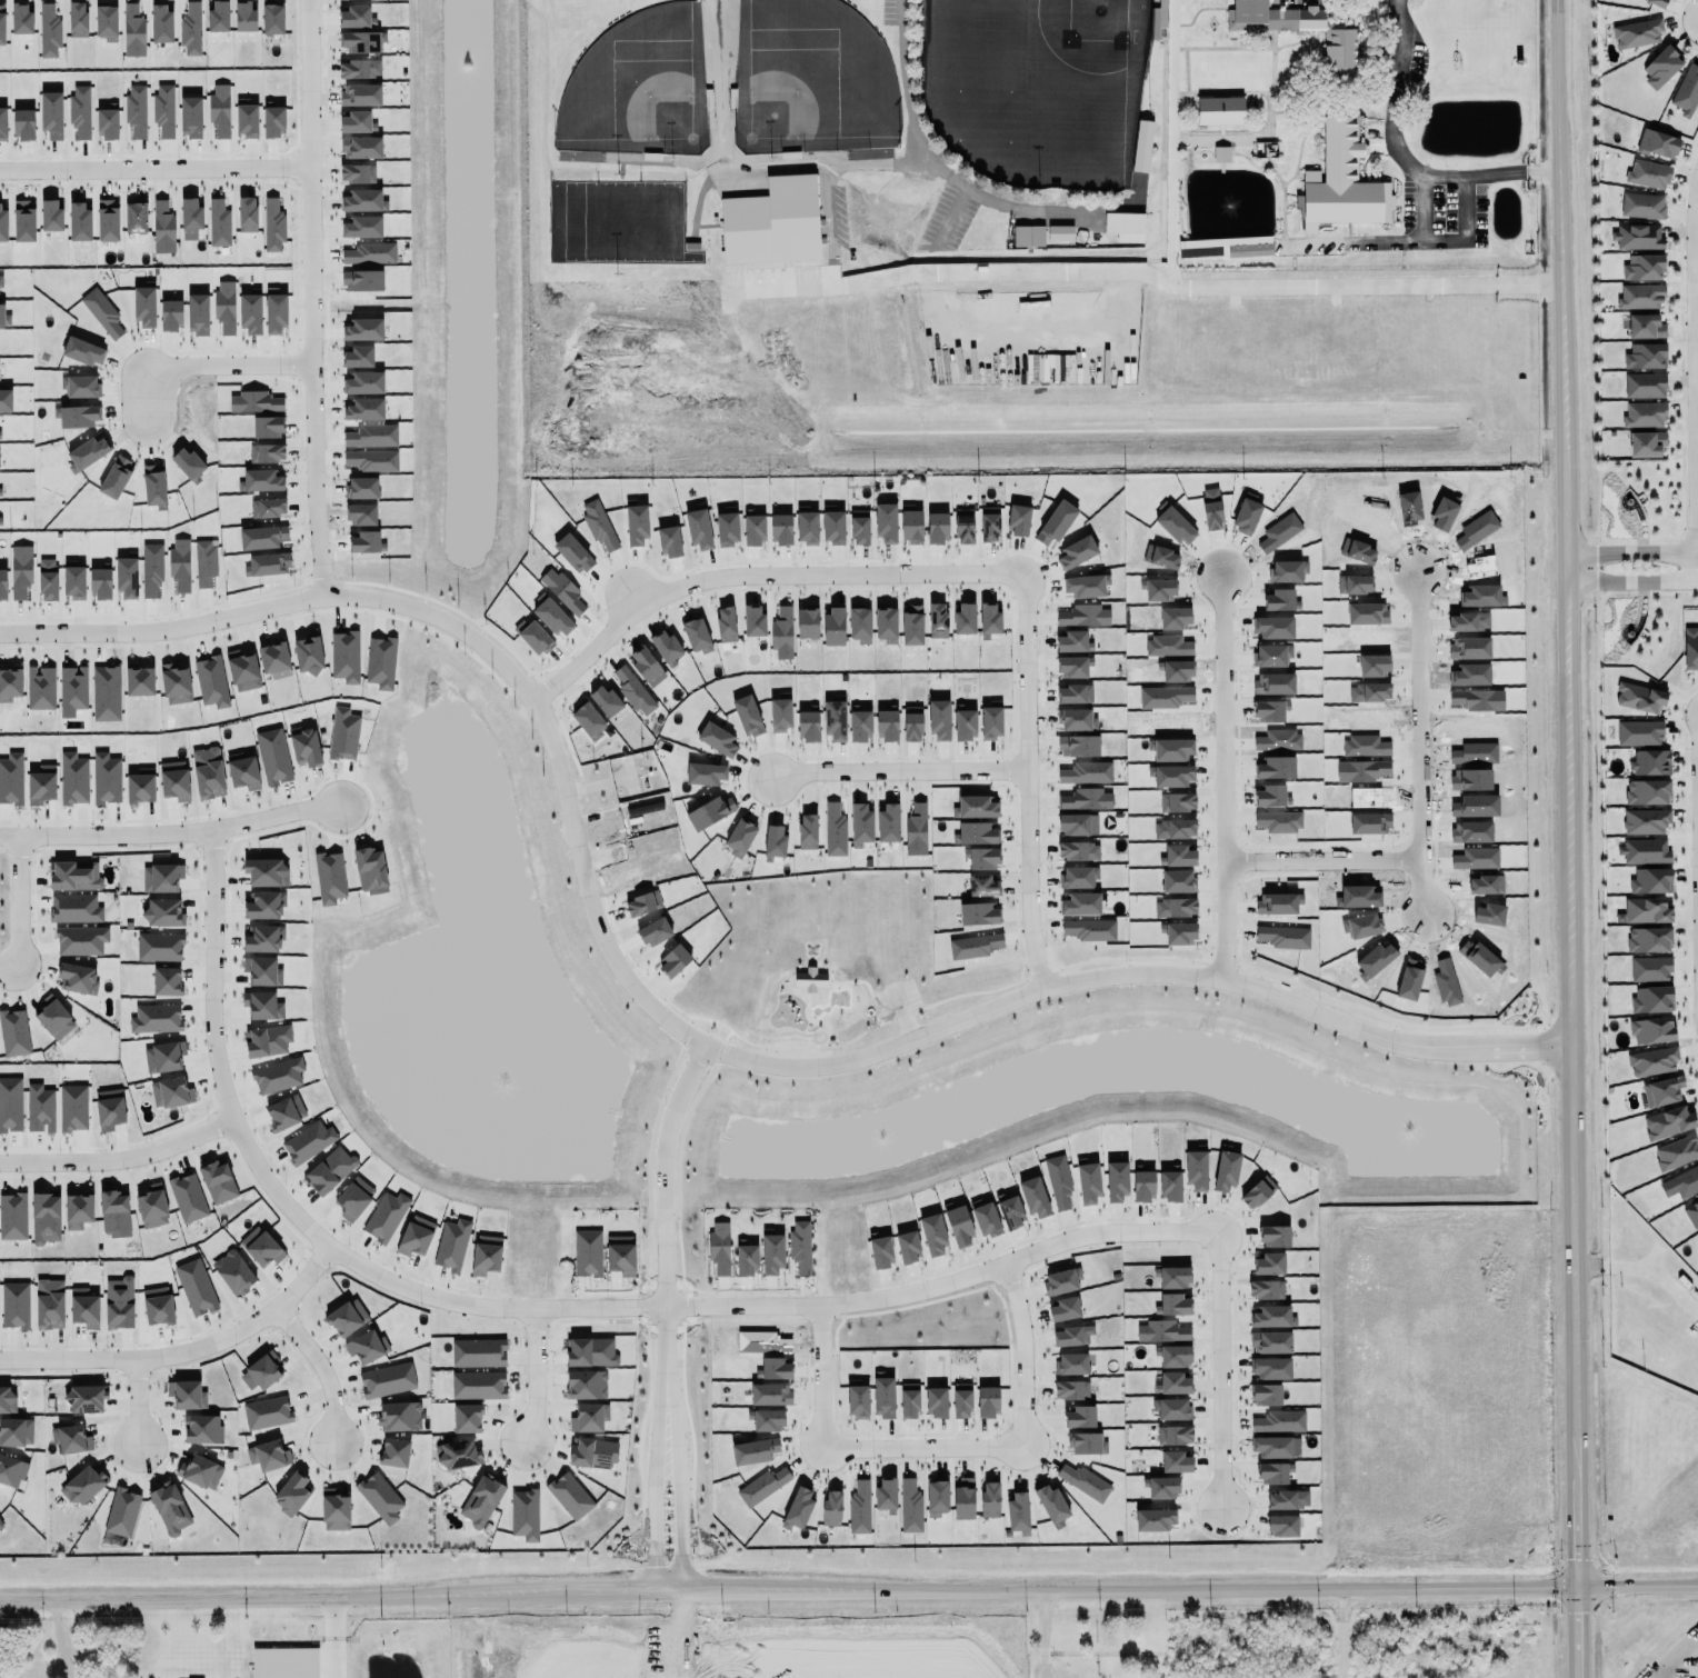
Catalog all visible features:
building: (1658, 2)
building: (219, 17)
building: (246, 18)
building: (356, 18)
building: (1270, 18)
building: (21, 19)
building: (78, 19)
building: (272, 19)
building: (102, 20)
building: (161, 23)
building: (2, 24)
building: (191, 29)
building: (129, 30)
building: (49, 31)
building: (1638, 33)
building: (361, 38)
building: (1340, 52)
building: (1660, 68)
building: (360, 69)
building: (1686, 90)
building: (360, 96)
building: (163, 110)
building: (220, 110)
building: (80, 111)
building: (136, 111)
building: (1220, 111)
building: (51, 114)
building: (191, 117)
building: (273, 119)
building: (247, 120)
building: (357, 122)
building: (2, 123)
building: (23, 124)
building: (108, 124)
road: (1559, 144)
building: (1658, 144)
building: (1142, 146)
building: (360, 147)
building: (1221, 154)
road: (1405, 157)
road: (925, 160)
road: (152, 171)
building: (1647, 173)
building: (357, 174)
building: (1340, 180)
building: (363, 201)
building: (1640, 203)
road: (1424, 209)
building: (48, 212)
building: (243, 213)
building: (187, 217)
building: (136, 218)
building: (19, 220)
building: (108, 220)
building: (79, 222)
building: (219, 223)
building: (269, 223)
building: (3, 224)
building: (772, 224)
building: (1123, 227)
building: (163, 228)
building: (1060, 233)
building: (1028, 236)
building: (1638, 237)
road: (1414, 244)
building: (1249, 247)
building: (370, 253)
building: (1644, 268)
building: (362, 281)
road: (1151, 281)
building: (0, 286)
building: (1638, 294)
road: (306, 301)
building: (144, 307)
building: (224, 308)
building: (98, 311)
building: (250, 313)
building: (276, 313)
building: (198, 314)
building: (170, 316)
building: (4, 317)
building: (1644, 327)
building: (82, 351)
building: (1646, 357)
road: (226, 369)
road: (1694, 381)
building: (363, 383)
building: (1642, 383)
building: (80, 386)
road: (143, 392)
building: (6, 400)
building: (1642, 413)
building: (77, 416)
building: (268, 427)
building: (1646, 443)
building: (86, 453)
building: (267, 453)
building: (261, 480)
building: (153, 487)
building: (361, 488)
building: (0, 492)
building: (267, 508)
building: (1018, 521)
building: (886, 522)
building: (1056, 522)
building: (598, 525)
building: (636, 525)
building: (911, 525)
building: (989, 525)
building: (0, 526)
building: (807, 526)
building: (832, 526)
building: (963, 526)
building: (859, 528)
building: (937, 528)
building: (698, 529)
building: (727, 529)
building: (780, 529)
building: (753, 530)
building: (262, 537)
building: (669, 538)
building: (573, 550)
road: (1635, 551)
building: (1077, 552)
building: (200, 563)
building: (180, 567)
road: (743, 570)
building: (21, 571)
building: (127, 579)
building: (48, 580)
road: (1635, 581)
building: (73, 582)
building: (100, 583)
building: (3, 586)
building: (1086, 587)
building: (562, 591)
road: (287, 606)
building: (1085, 616)
building: (552, 617)
building: (965, 619)
building: (989, 619)
building: (938, 620)
building: (753, 621)
building: (1468, 621)
building: (807, 623)
building: (886, 623)
building: (726, 625)
building: (835, 626)
building: (912, 626)
building: (782, 633)
building: (696, 635)
building: (533, 637)
building: (1073, 642)
building: (666, 647)
building: (1690, 648)
building: (308, 656)
building: (344, 657)
building: (273, 658)
building: (381, 662)
building: (647, 667)
building: (1073, 667)
building: (242, 670)
building: (140, 681)
building: (212, 681)
building: (10, 685)
building: (176, 685)
building: (41, 688)
building: (73, 688)
building: (632, 690)
building: (106, 693)
building: (1075, 693)
building: (1639, 698)
building: (606, 701)
building: (781, 715)
building: (747, 716)
building: (835, 720)
building: (939, 720)
building: (1077, 720)
building: (589, 721)
building: (808, 722)
building: (991, 722)
building: (860, 723)
building: (963, 723)
building: (912, 725)
building: (342, 733)
building: (1639, 733)
building: (718, 740)
building: (1078, 746)
building: (306, 747)
building: (272, 755)
building: (1650, 762)
road: (1225, 763)
building: (242, 771)
road: (896, 772)
building: (1087, 772)
building: (208, 773)
building: (705, 775)
road: (1697, 776)
road: (1025, 777)
building: (11, 779)
building: (73, 779)
building: (106, 779)
building: (174, 781)
building: (41, 785)
building: (140, 789)
building: (1647, 792)
building: (1086, 799)
building: (975, 807)
building: (647, 809)
building: (711, 812)
road: (1419, 816)
building: (861, 820)
building: (1644, 820)
building: (888, 822)
building: (1078, 825)
building: (835, 830)
building: (916, 830)
building: (807, 831)
road: (168, 833)
building: (976, 833)
building: (740, 838)
building: (775, 843)
building: (1078, 851)
building: (1645, 851)
building: (982, 856)
building: (266, 869)
building: (369, 869)
building: (161, 875)
building: (74, 876)
building: (1078, 877)
building: (330, 878)
building: (1650, 878)
road: (1421, 882)
building: (985, 886)
road: (586, 893)
road: (19, 900)
building: (263, 903)
building: (642, 905)
building: (1080, 905)
building: (74, 909)
building: (1646, 909)
building: (163, 912)
building: (978, 915)
building: (1090, 930)
building: (655, 932)
building: (263, 939)
building: (81, 940)
building: (1649, 940)
building: (159, 947)
building: (973, 947)
building: (673, 960)
road: (10, 963)
road: (1219, 965)
building: (1650, 969)
building: (262, 971)
building: (78, 978)
building: (811, 979)
road: (1132, 979)
building: (167, 981)
road: (1576, 985)
building: (1652, 1000)
building: (262, 1006)
building: (53, 1018)
building: (157, 1019)
building: (1651, 1027)
building: (14, 1033)
building: (268, 1041)
building: (164, 1058)
road: (209, 1060)
building: (1652, 1061)
building: (277, 1073)
building: (1661, 1091)
building: (171, 1093)
building: (11, 1105)
building: (73, 1108)
building: (40, 1109)
building: (110, 1109)
building: (284, 1112)
building: (1668, 1123)
building: (309, 1142)
building: (1676, 1152)
road: (116, 1159)
building: (1196, 1170)
building: (1227, 1170)
building: (330, 1171)
building: (218, 1181)
building: (1117, 1181)
building: (1059, 1182)
building: (1088, 1182)
building: (1684, 1182)
building: (1142, 1185)
building: (1170, 1186)
building: (1256, 1189)
building: (188, 1198)
building: (1035, 1198)
building: (353, 1199)
building: (151, 1207)
building: (78, 1211)
building: (113, 1211)
building: (1010, 1212)
building: (1692, 1212)
building: (11, 1213)
building: (386, 1215)
building: (46, 1218)
building: (985, 1218)
building: (958, 1226)
building: (933, 1235)
building: (416, 1237)
building: (1275, 1237)
building: (451, 1243)
building: (261, 1247)
building: (800, 1247)
road: (663, 1248)
building: (719, 1248)
building: (908, 1248)
building: (880, 1252)
building: (588, 1253)
building: (486, 1255)
building: (620, 1255)
building: (772, 1255)
building: (746, 1260)
building: (1268, 1265)
building: (233, 1270)
building: (1173, 1277)
building: (1061, 1281)
building: (196, 1288)
building: (1266, 1290)
building: (49, 1302)
building: (119, 1304)
building: (158, 1304)
road: (771, 1304)
building: (1176, 1305)
building: (14, 1306)
building: (84, 1308)
building: (1065, 1309)
building: (1270, 1312)
building: (347, 1318)
building: (1161, 1331)
building: (1072, 1336)
building: (1270, 1342)
building: (364, 1345)
road: (182, 1346)
building: (479, 1352)
road: (1021, 1355)
building: (1173, 1357)
building: (1073, 1359)
road: (317, 1362)
building: (1271, 1368)
road: (1219, 1369)
building: (260, 1370)
road: (535, 1375)
road: (820, 1376)
building: (387, 1379)
building: (1173, 1384)
building: (478, 1386)
road: (134, 1390)
building: (184, 1390)
building: (1071, 1390)
building: (770, 1395)
building: (1266, 1395)
building: (7, 1397)
building: (883, 1397)
building: (988, 1398)
building: (86, 1399)
building: (857, 1400)
building: (909, 1400)
building: (961, 1401)
building: (936, 1402)
building: (1173, 1405)
building: (267, 1412)
building: (398, 1414)
building: (589, 1418)
building: (1079, 1418)
building: (467, 1419)
building: (766, 1420)
building: (1279, 1421)
building: (202, 1429)
building: (16, 1432)
building: (1175, 1436)
building: (71, 1438)
building: (1087, 1445)
building: (1272, 1447)
road: (922, 1449)
building: (459, 1451)
building: (755, 1451)
building: (394, 1452)
building: (593, 1452)
building: (269, 1456)
building: (1176, 1462)
building: (1274, 1467)
building: (12, 1472)
building: (200, 1472)
building: (1083, 1479)
building: (83, 1486)
building: (763, 1486)
building: (1162, 1488)
building: (937, 1491)
building: (291, 1494)
building: (570, 1496)
building: (886, 1496)
building: (380, 1498)
building: (963, 1499)
building: (990, 1500)
building: (1051, 1500)
building: (1288, 1500)
building: (482, 1501)
building: (797, 1506)
building: (911, 1507)
building: (860, 1508)
building: (170, 1509)
building: (832, 1509)
building: (334, 1510)
building: (122, 1512)
building: (525, 1512)
building: (1018, 1514)
building: (1155, 1520)
building: (0, 1524)
road: (679, 1525)
road: (651, 1526)
building: (1282, 1527)
road: (849, 1594)
road: (1036, 1635)
road: (324, 1639)
road: (56, 1641)
road: (1672, 1661)
building: (286, 1662)
road: (1660, 1674)

